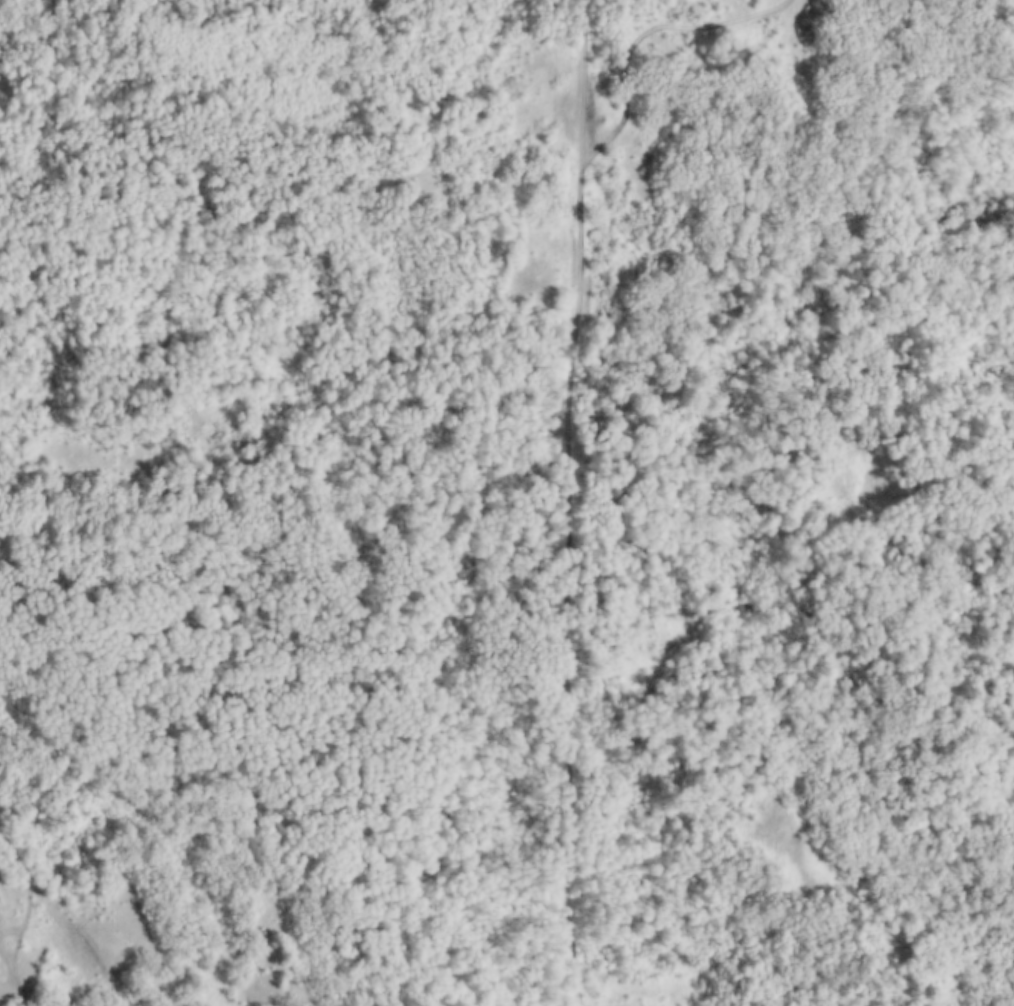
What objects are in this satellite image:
road: (577, 502)

